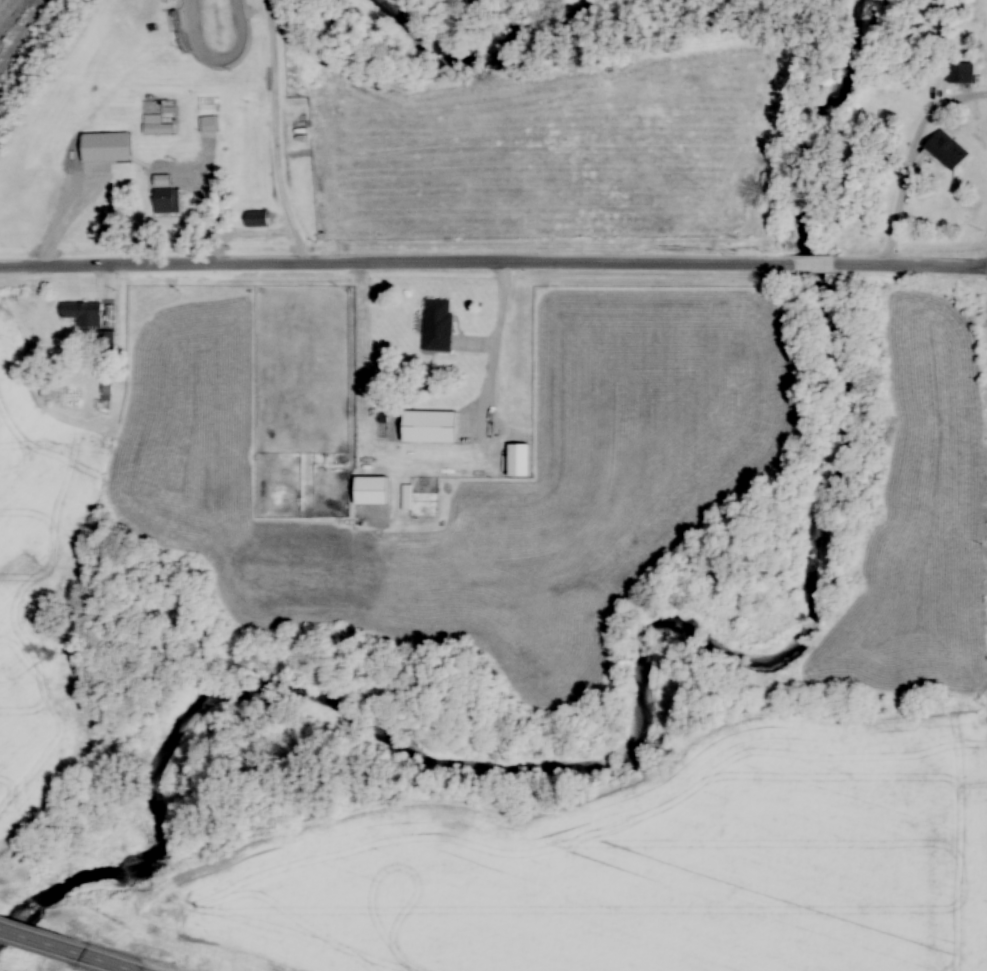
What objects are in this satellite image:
building: (961, 73)
building: (148, 110)
building: (209, 123)
building: (158, 128)
building: (107, 143)
building: (947, 149)
road: (915, 158)
building: (162, 180)
building: (166, 200)
building: (256, 218)
road: (399, 263)
road: (820, 265)
road: (913, 265)
building: (82, 313)
building: (438, 324)
building: (106, 341)
building: (107, 393)
building: (433, 423)
building: (375, 487)
crop: (641, 866)
road: (41, 939)
road: (110, 962)

